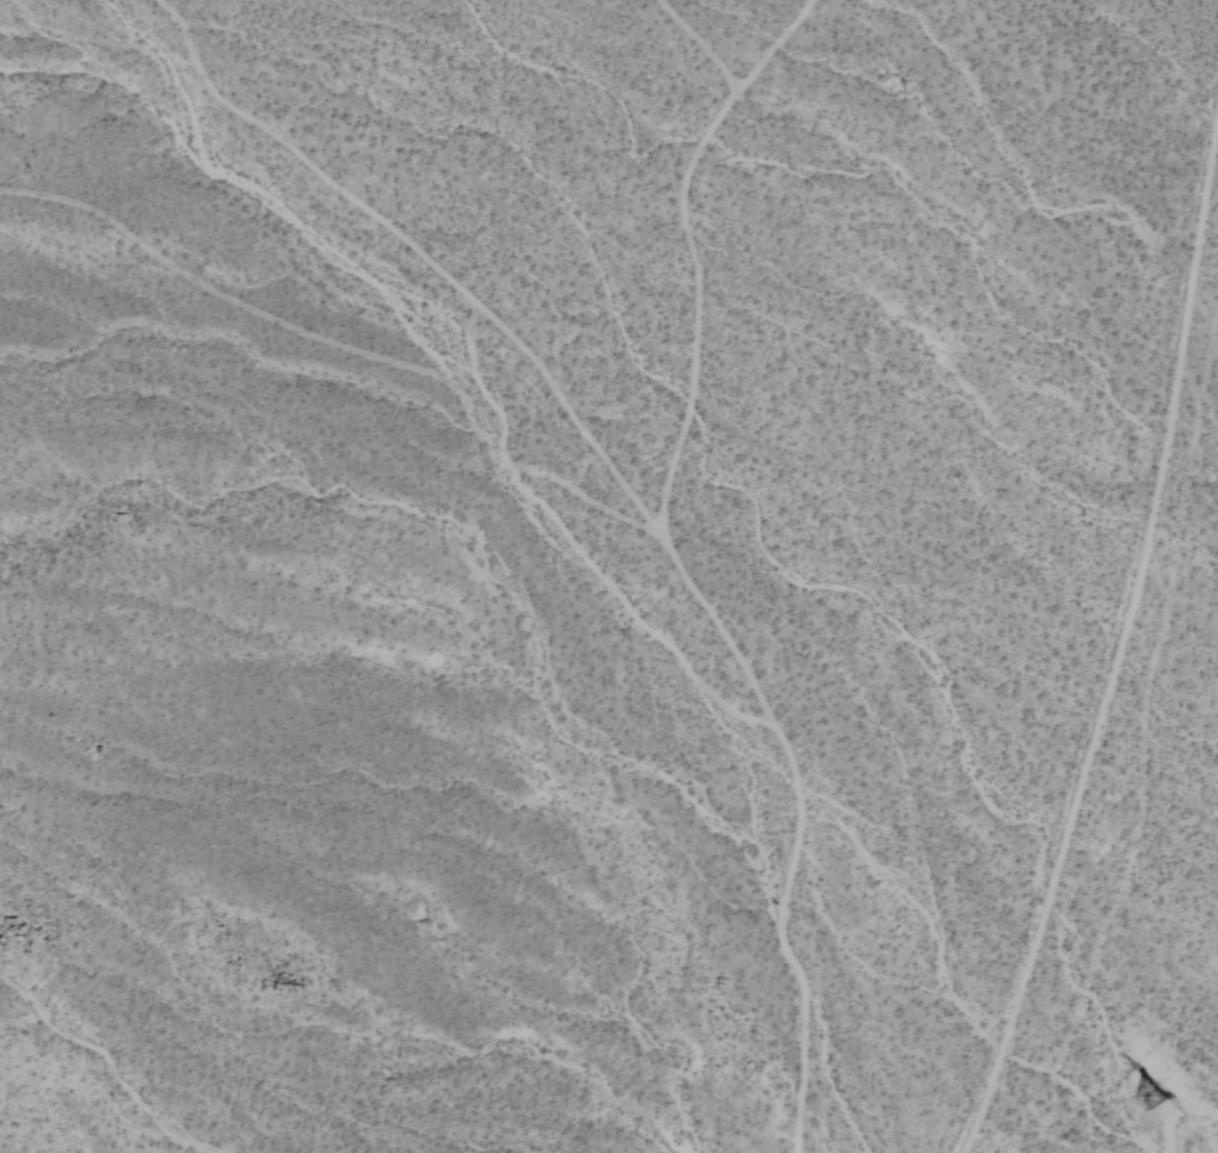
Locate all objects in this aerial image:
power tower: (1146, 1097)

